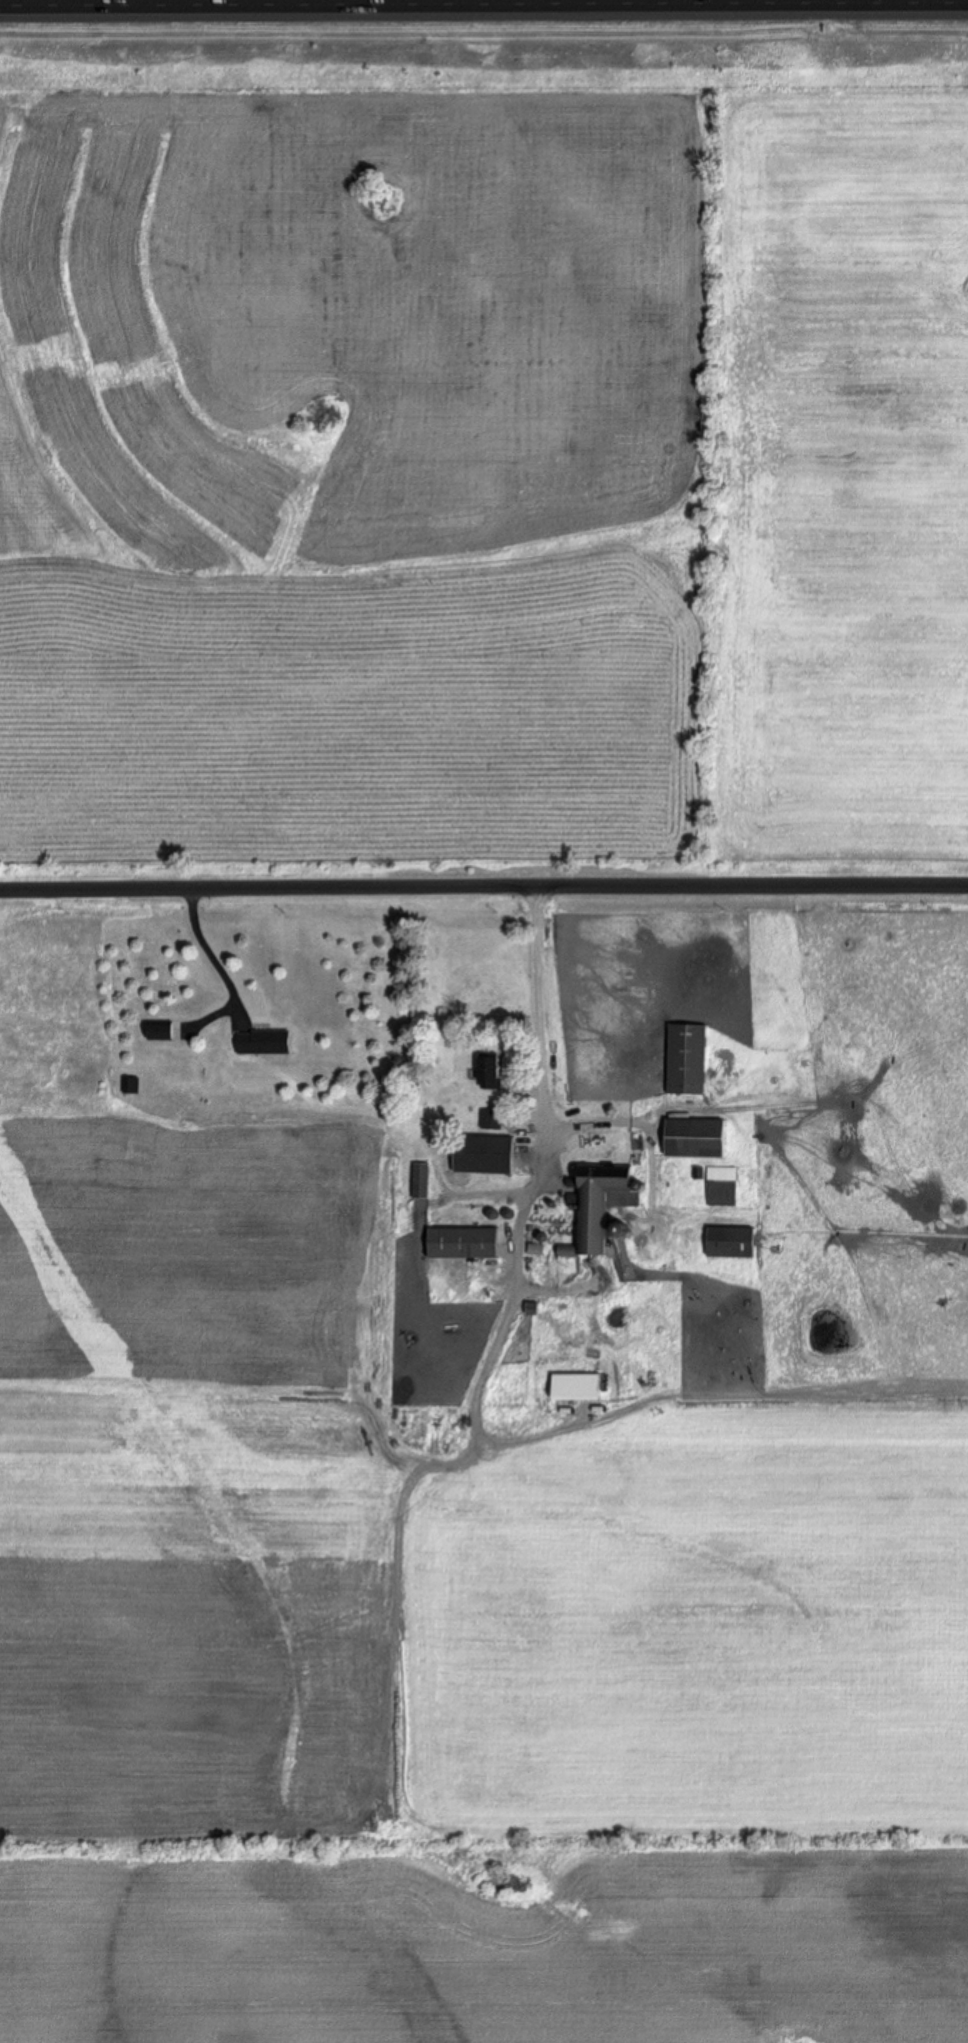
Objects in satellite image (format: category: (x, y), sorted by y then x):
road: (484, 0)
road: (484, 894)
building: (164, 1032)
building: (265, 1043)
building: (687, 1061)
building: (491, 1073)
building: (491, 1121)
building: (696, 1140)
building: (486, 1156)
building: (721, 1188)
building: (597, 1203)
building: (464, 1244)
building: (732, 1244)
building: (578, 1388)

